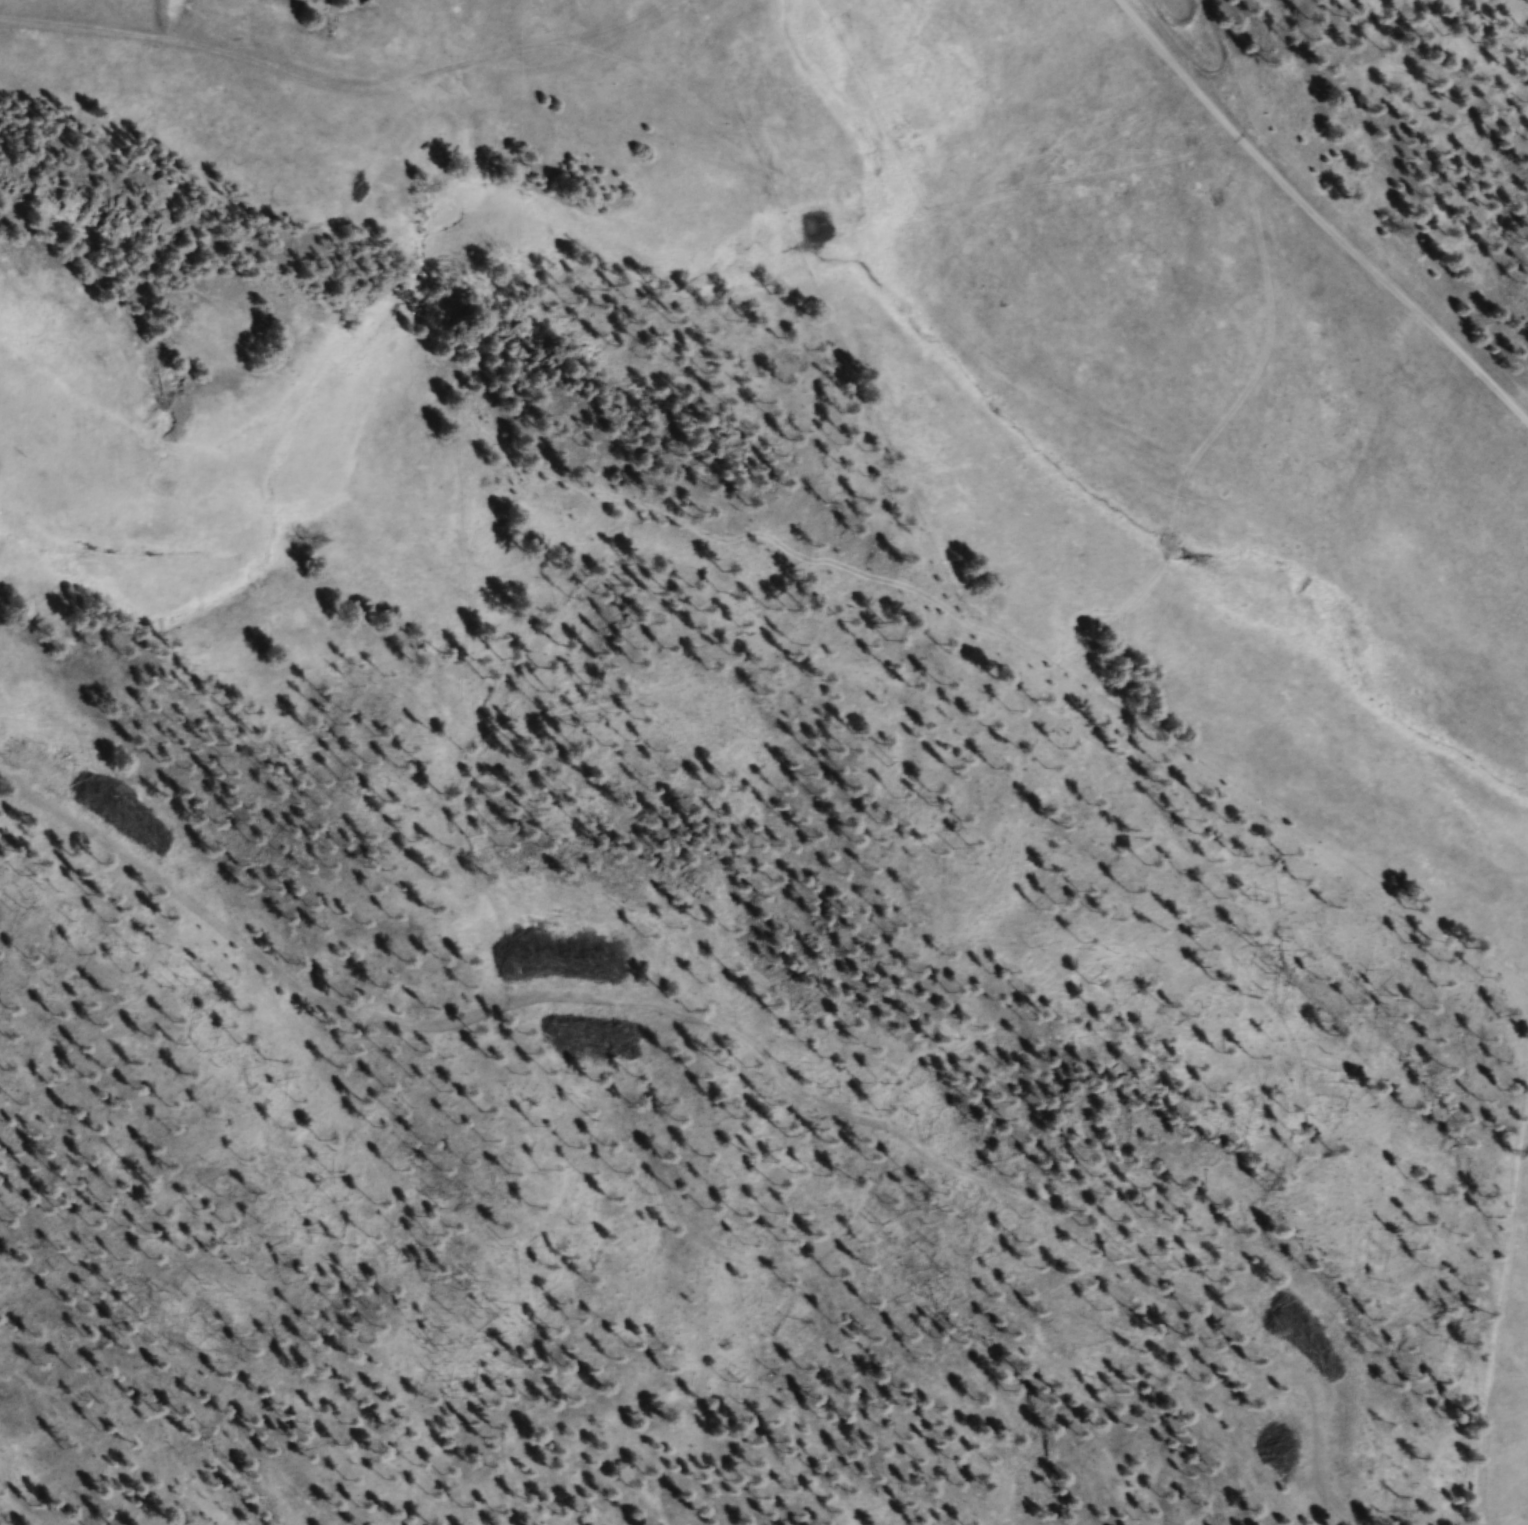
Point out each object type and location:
road: (1323, 213)

